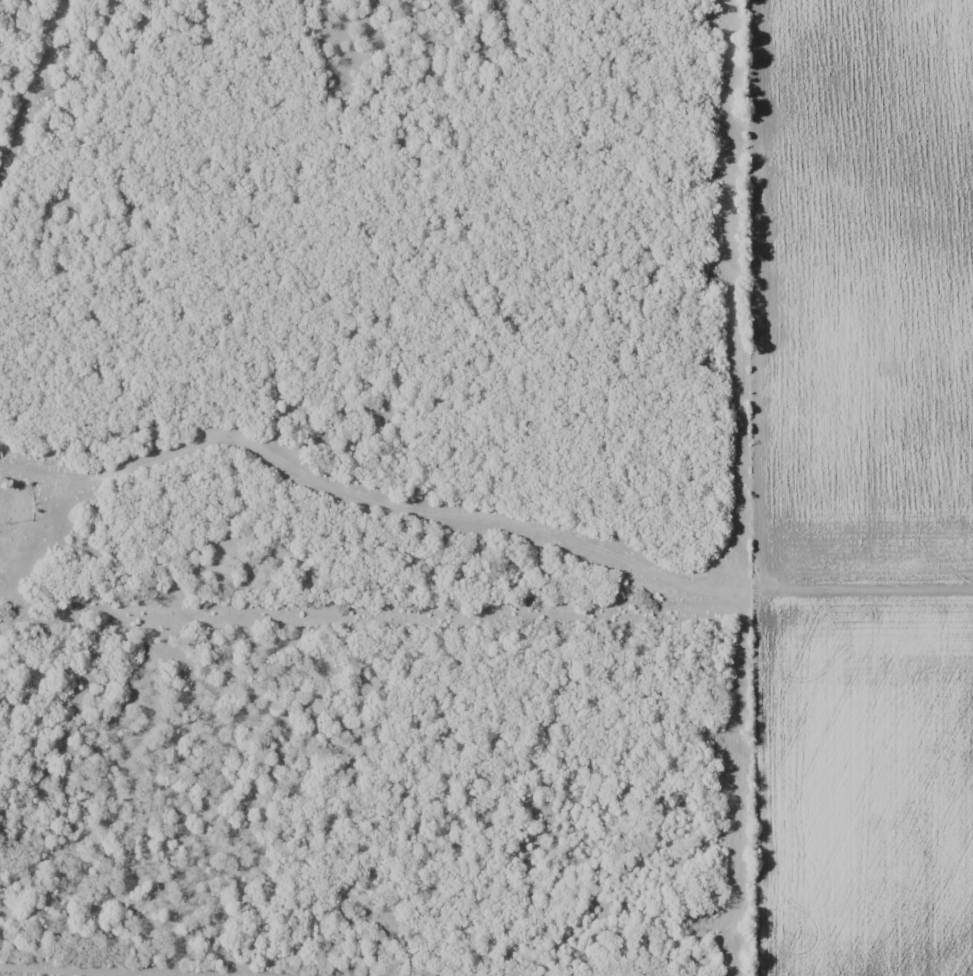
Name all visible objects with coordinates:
road: (486, 606)

